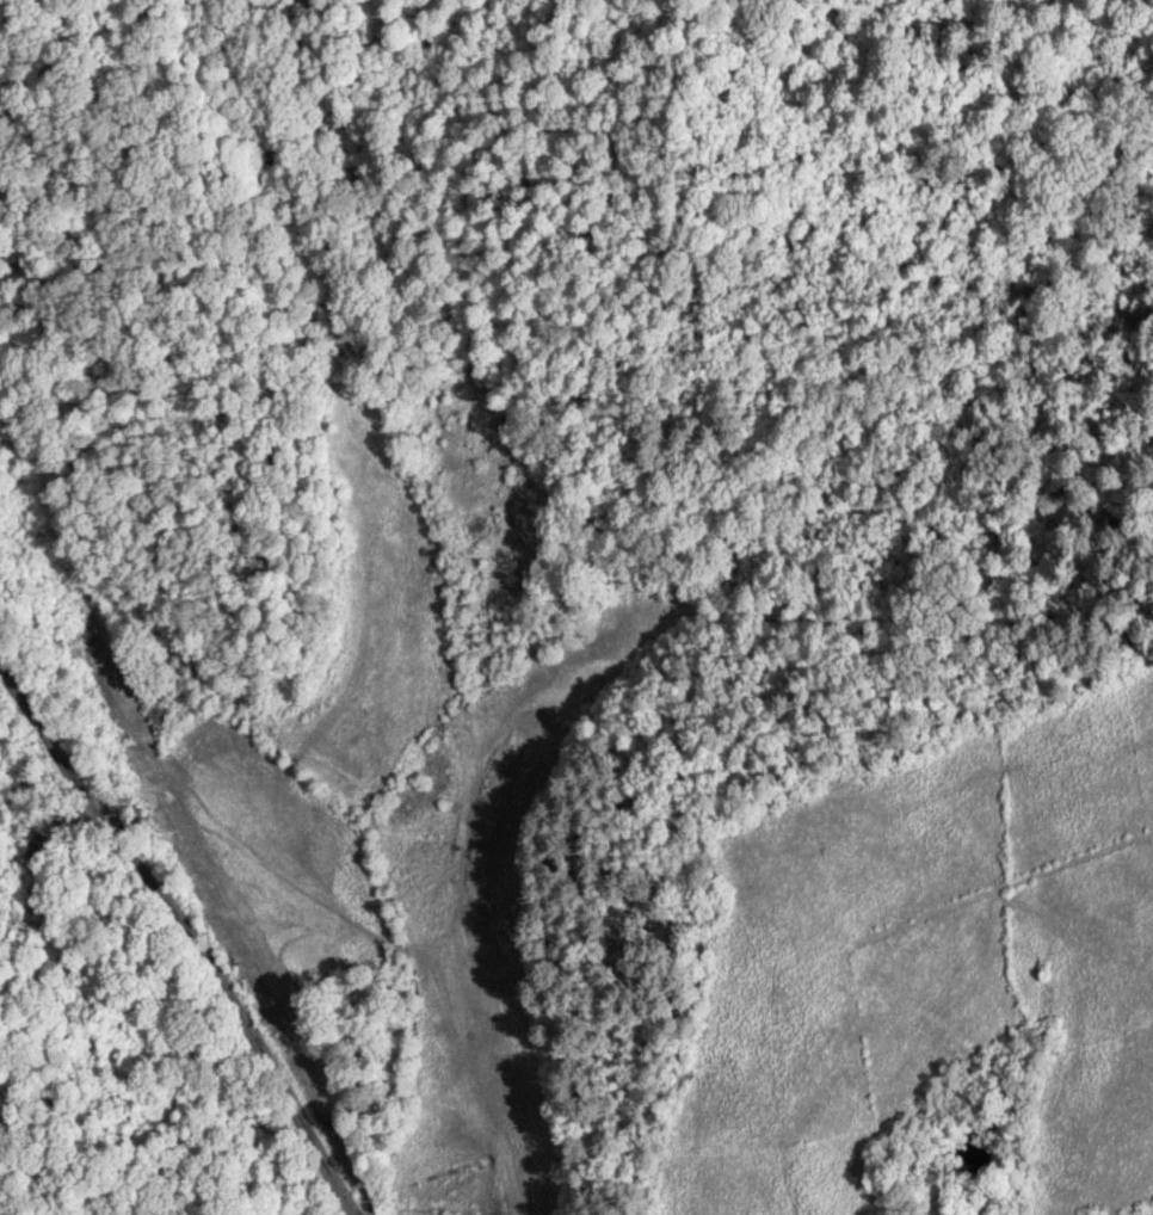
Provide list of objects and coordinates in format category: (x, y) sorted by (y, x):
road: (177, 945)

